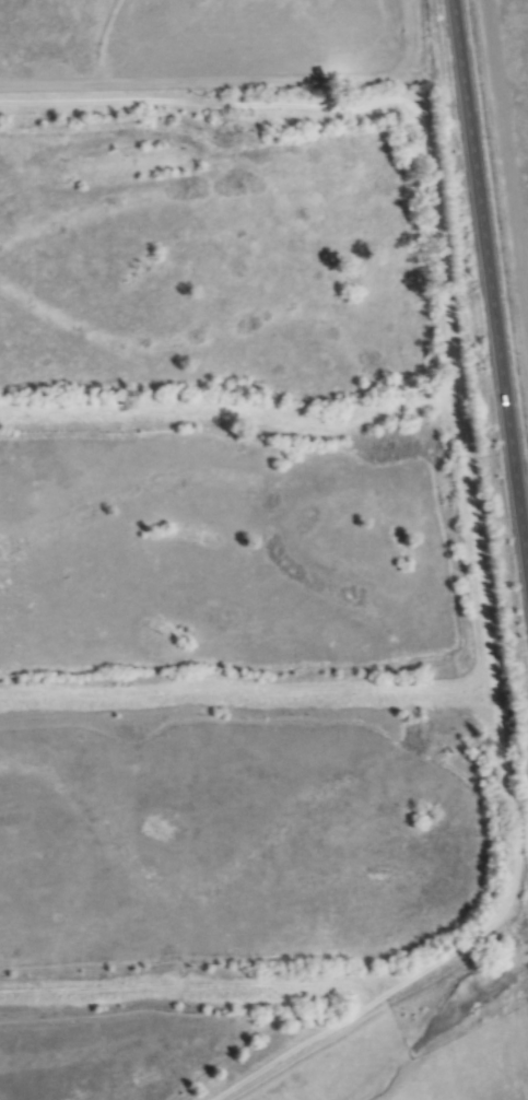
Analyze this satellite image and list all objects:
road: (489, 295)

